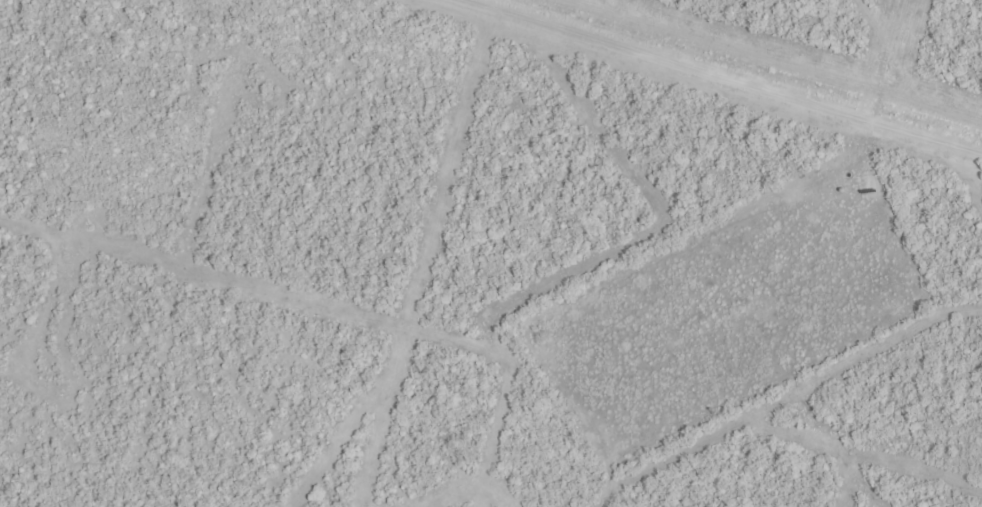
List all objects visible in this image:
road: (703, 76)

